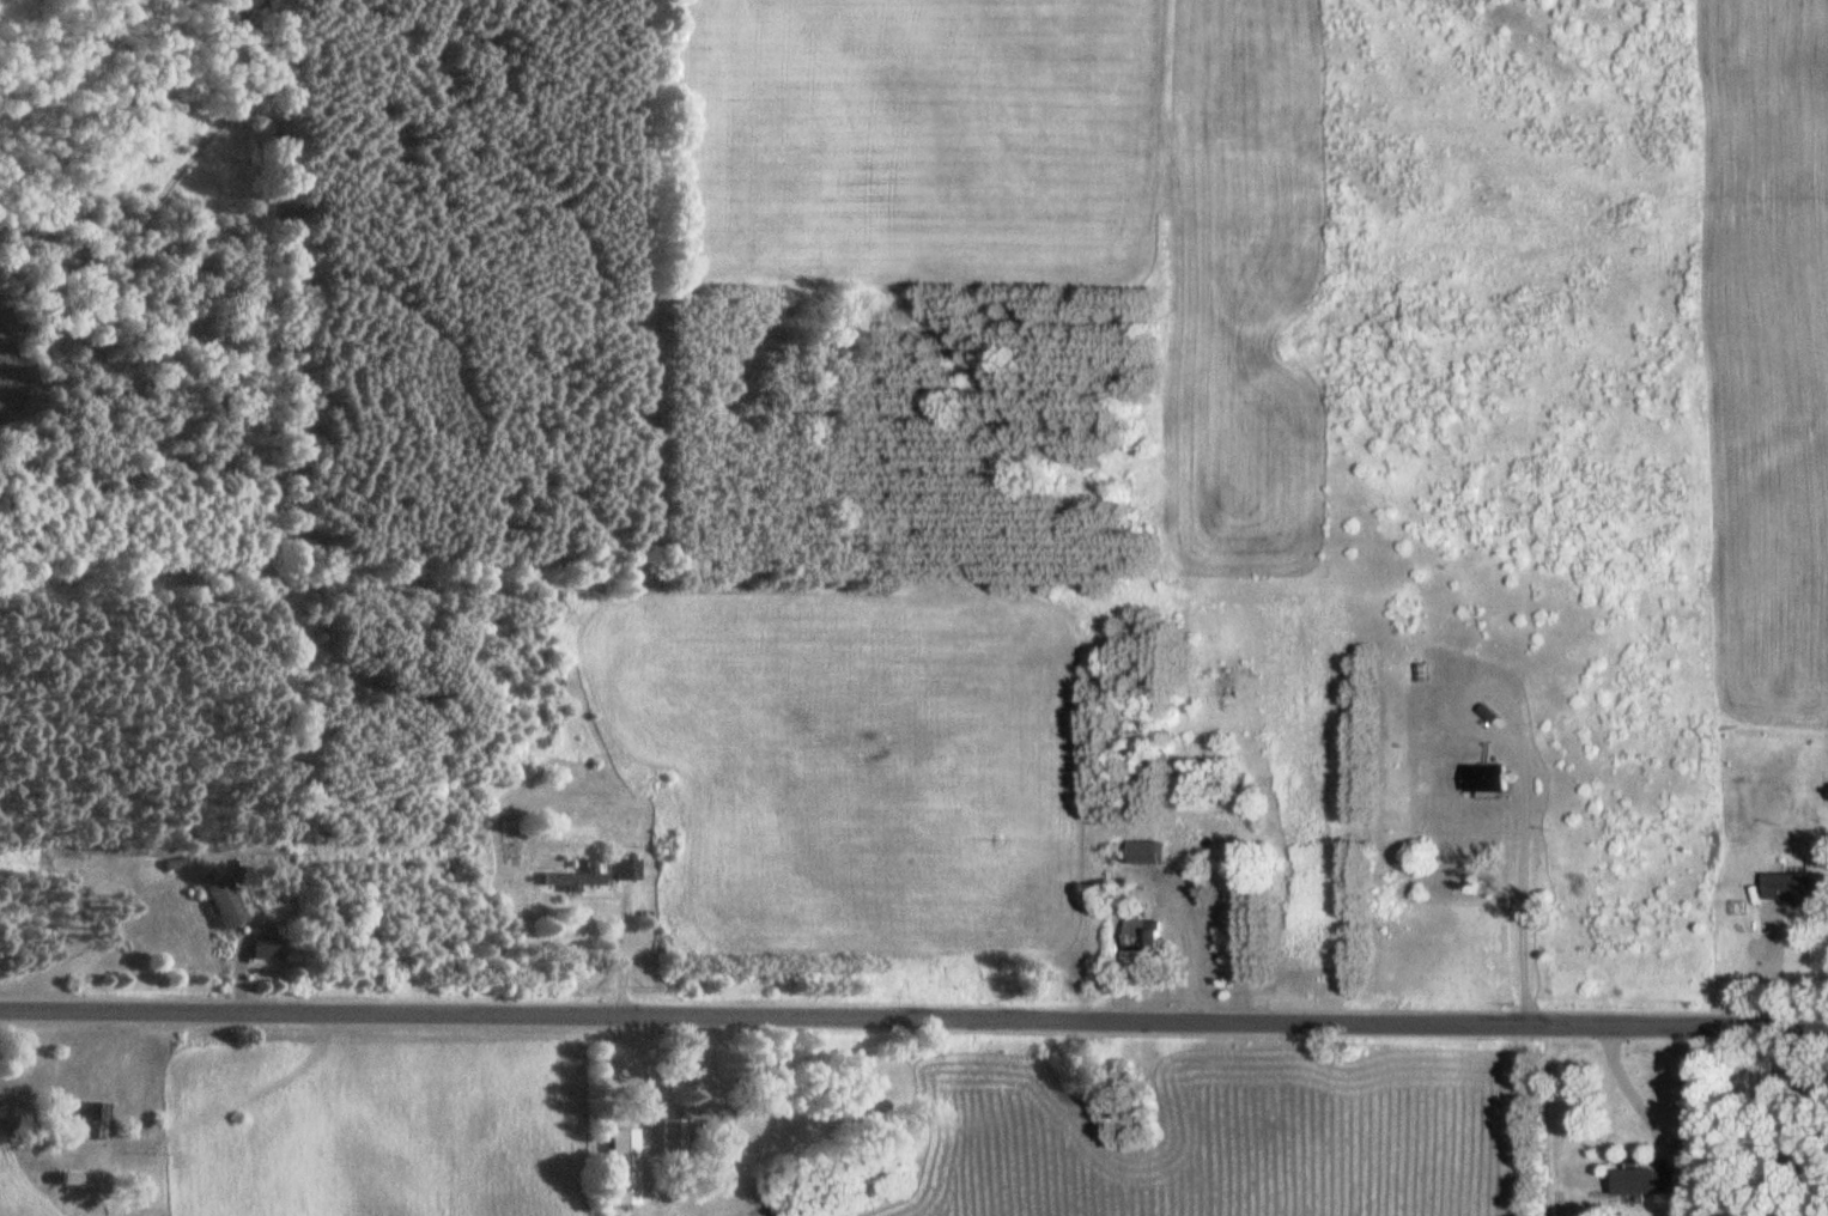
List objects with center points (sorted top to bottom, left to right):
building: (1487, 777)
building: (1144, 852)
building: (628, 870)
building: (575, 880)
building: (1797, 887)
building: (225, 901)
building: (1143, 937)
road: (1185, 962)
road: (913, 1025)
building: (96, 1114)
building: (693, 1126)
building: (623, 1168)
building: (1645, 1180)

